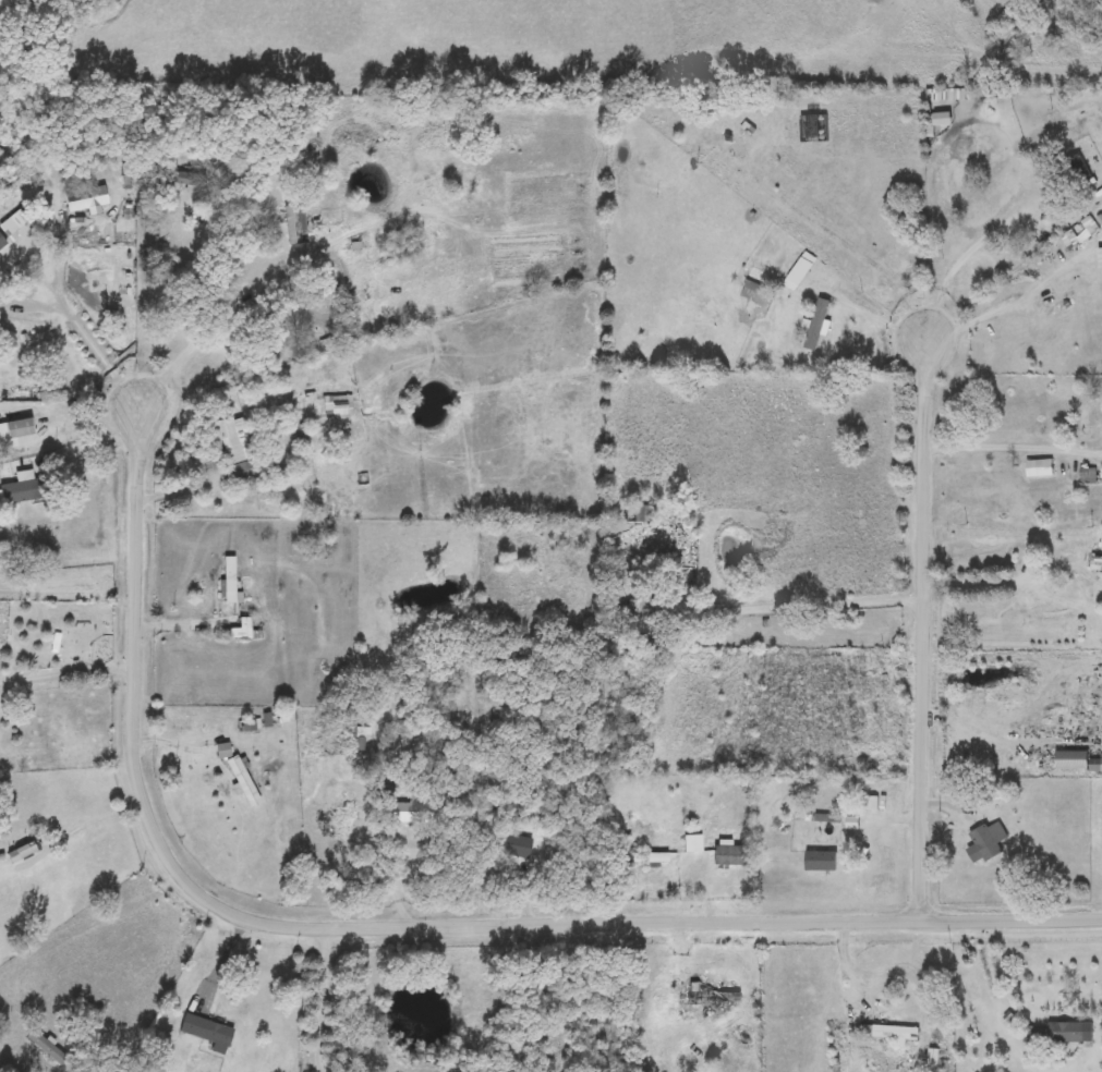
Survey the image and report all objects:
building: (1077, 169)
building: (181, 178)
building: (86, 199)
building: (11, 226)
building: (294, 227)
road: (849, 242)
road: (978, 249)
road: (193, 276)
road: (1033, 279)
building: (760, 290)
road: (63, 295)
building: (819, 325)
road: (927, 327)
road: (108, 358)
road: (180, 362)
road: (72, 413)
building: (1085, 423)
building: (17, 434)
building: (238, 440)
road: (1002, 446)
building: (1041, 468)
building: (239, 473)
building: (1091, 476)
building: (27, 488)
road: (180, 492)
building: (1100, 560)
road: (71, 571)
building: (229, 578)
building: (614, 595)
road: (814, 605)
building: (639, 619)
road: (191, 623)
road: (928, 623)
building: (244, 631)
road: (70, 675)
road: (995, 739)
road: (178, 746)
building: (1074, 760)
building: (1097, 766)
building: (244, 782)
building: (411, 813)
road: (89, 826)
building: (991, 840)
building: (693, 844)
building: (17, 856)
building: (727, 856)
building: (649, 858)
building: (822, 861)
road: (384, 865)
road: (706, 891)
road: (90, 924)
road: (397, 926)
road: (226, 960)
road: (998, 975)
building: (707, 995)
road: (324, 999)
road: (367, 1002)
building: (206, 1032)
building: (1071, 1033)
building: (892, 1034)
building: (47, 1048)
building: (934, 1060)

